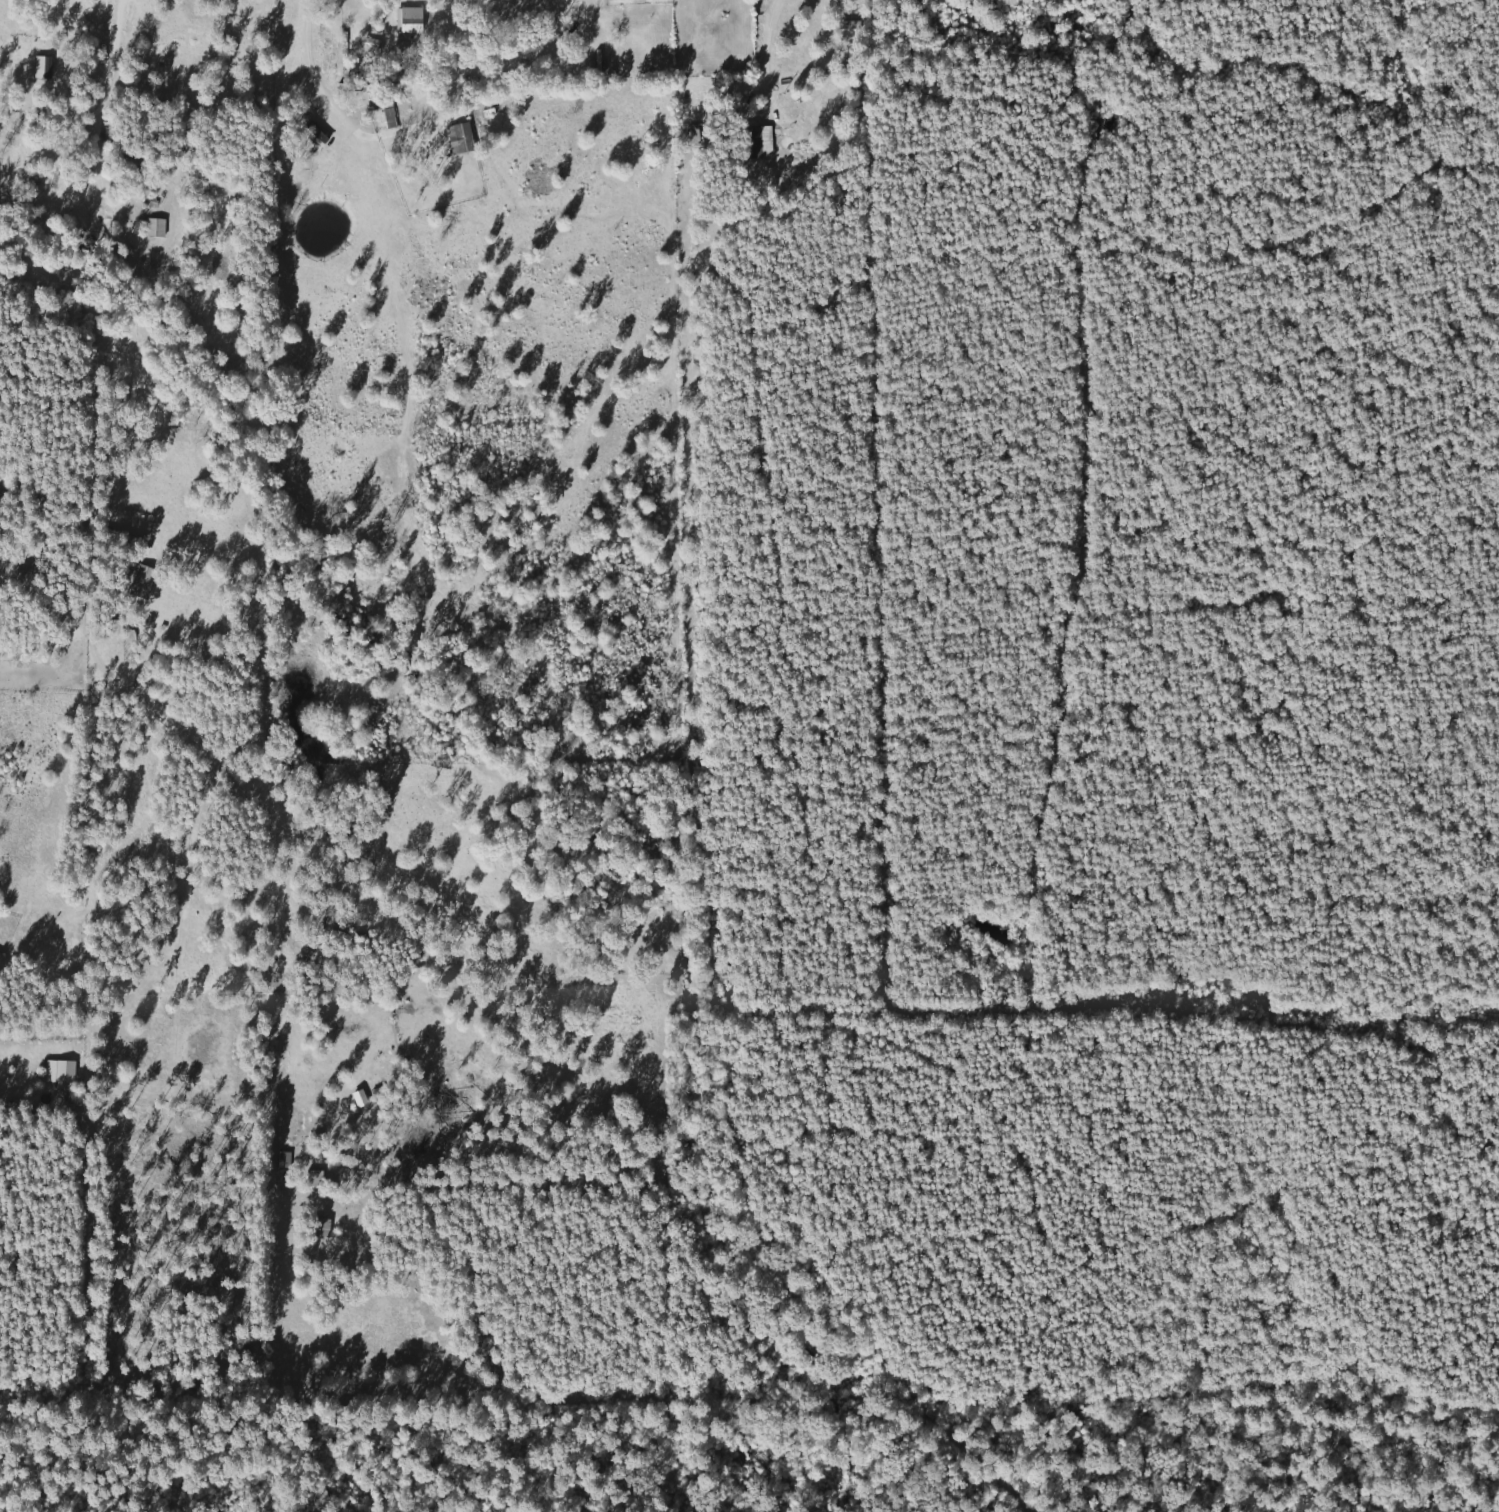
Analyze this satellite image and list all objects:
building: (409, 20)
building: (368, 46)
road: (760, 62)
road: (337, 113)
road: (98, 124)
building: (462, 138)
building: (151, 226)
building: (3, 498)
building: (141, 582)
building: (0, 958)

